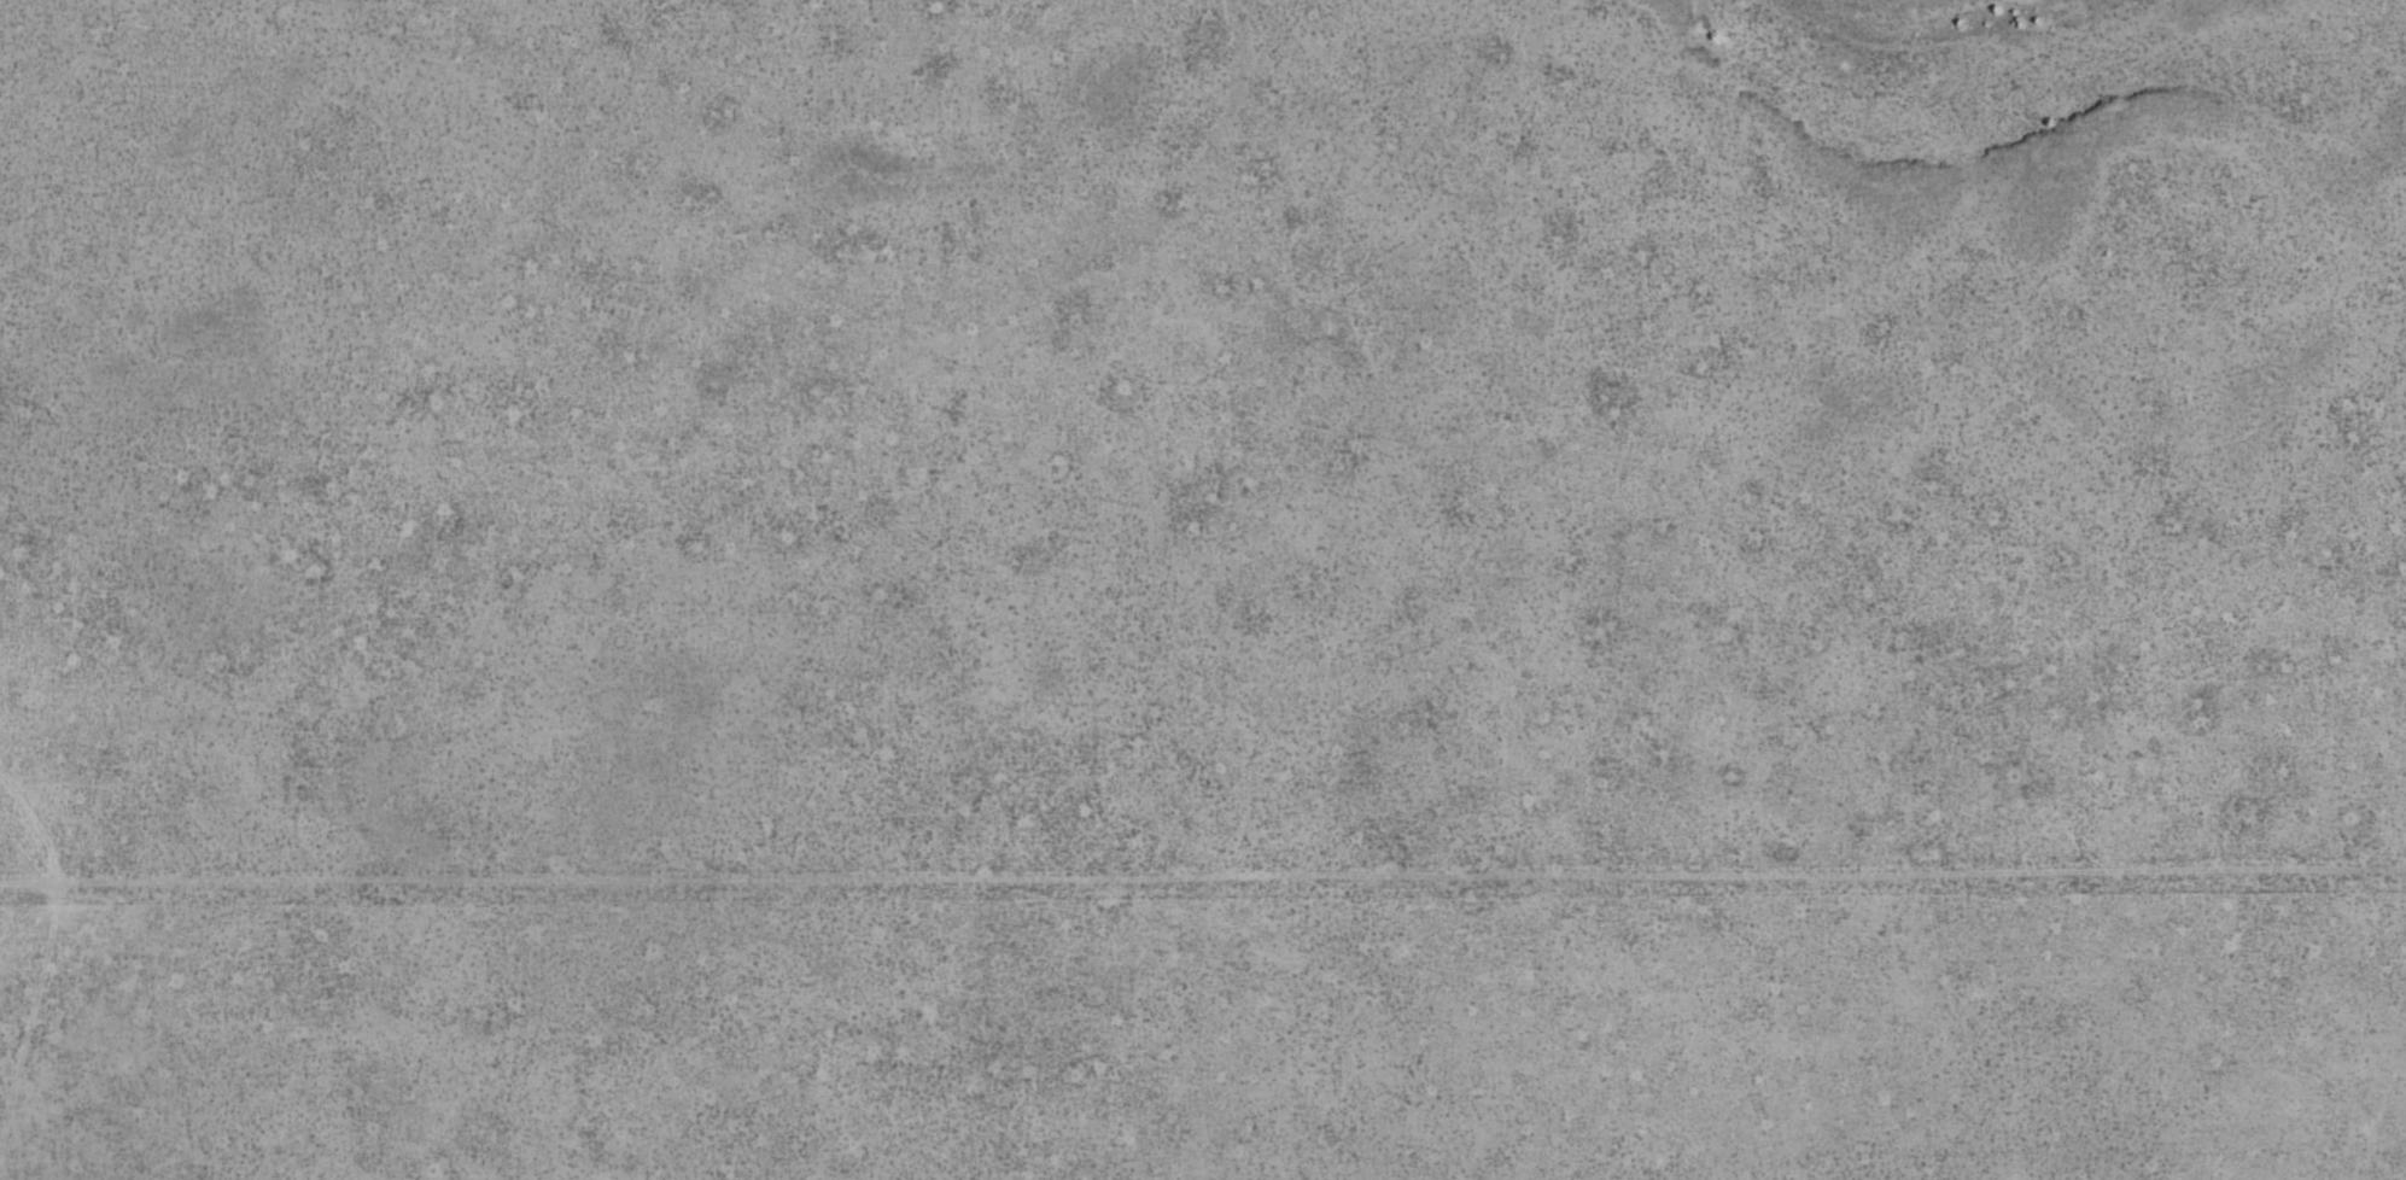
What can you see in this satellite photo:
road: (45, 790)
road: (1202, 871)
road: (72, 1061)

